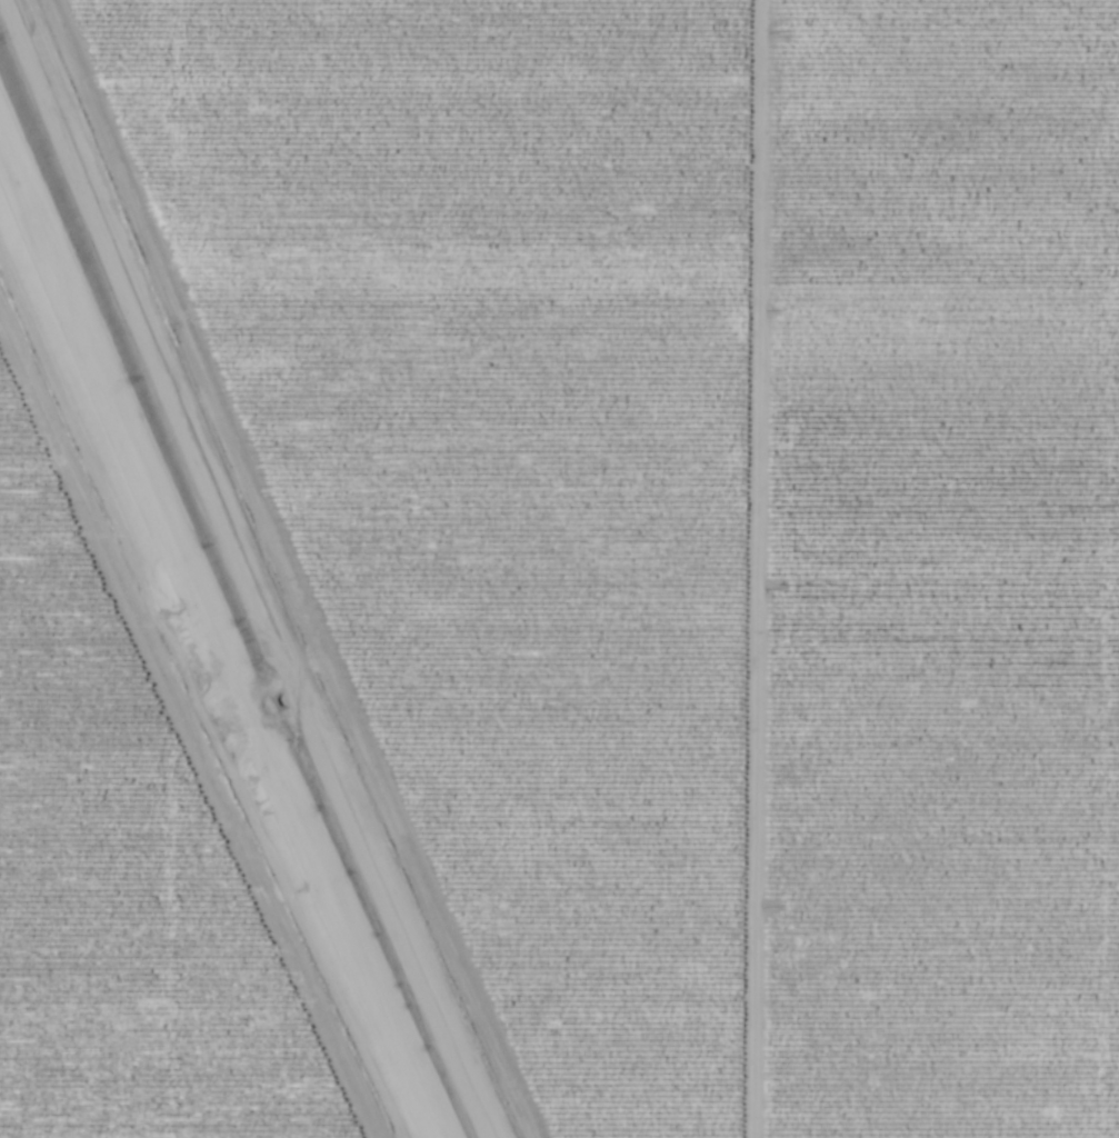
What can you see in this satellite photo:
crop: (494, 462)
road: (747, 569)
crop: (938, 571)
railway: (218, 628)
railway: (212, 641)
crop: (117, 887)

